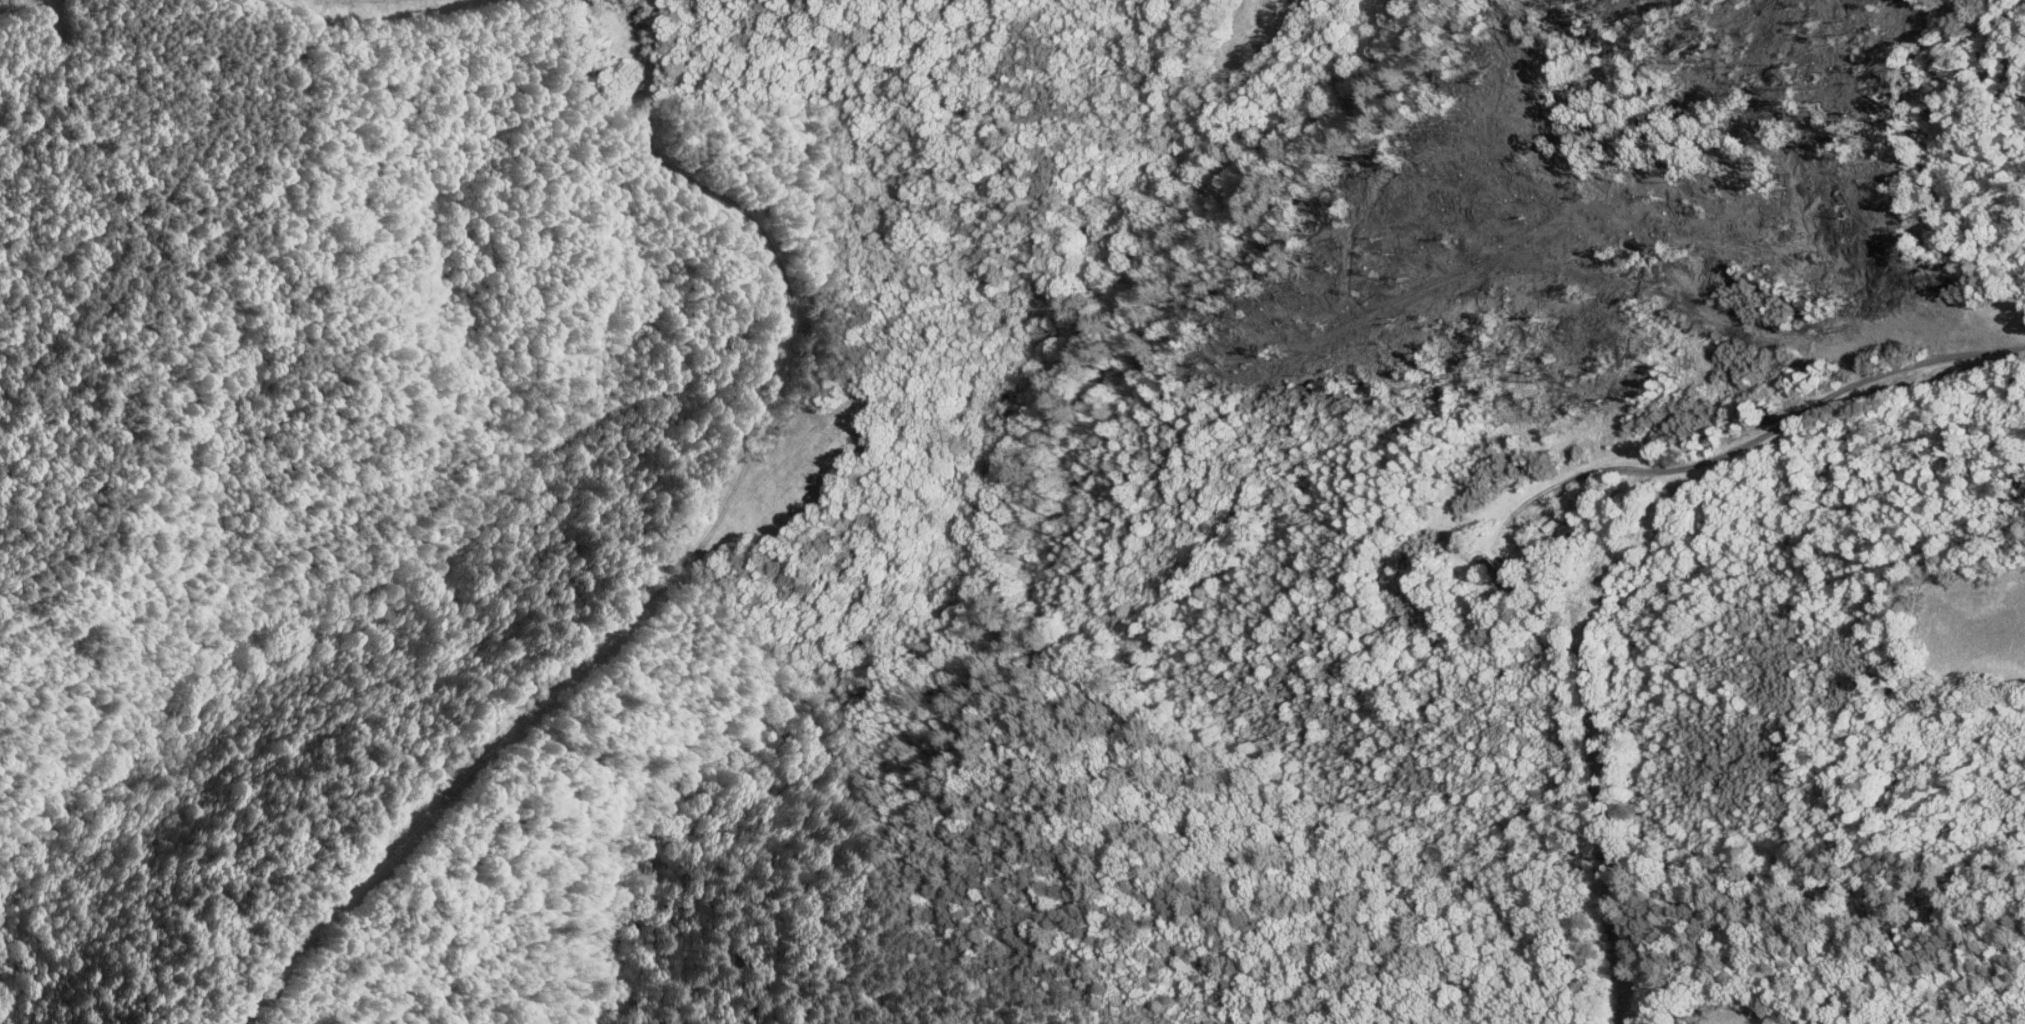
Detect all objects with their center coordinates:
road: (1752, 438)

